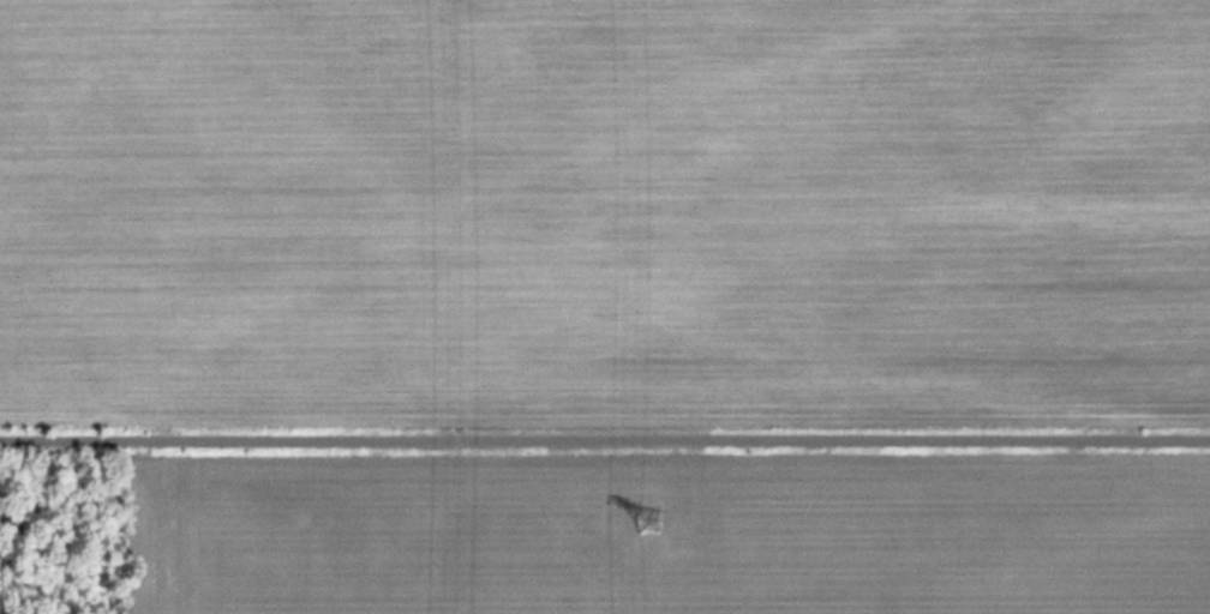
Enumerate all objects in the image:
road: (605, 437)
power tower: (647, 519)

